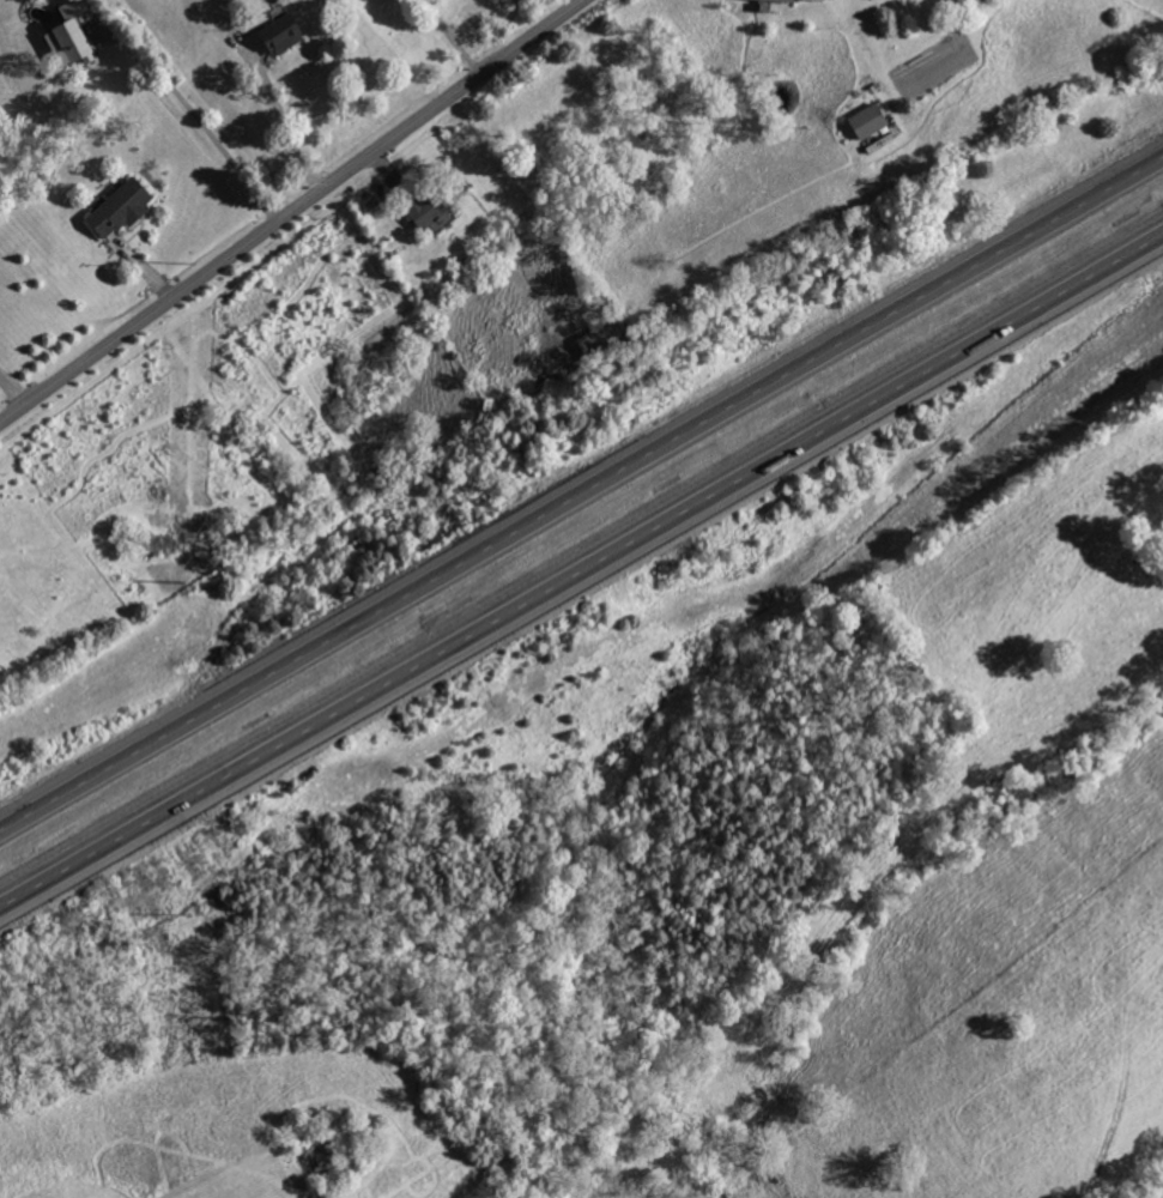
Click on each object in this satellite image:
building: (811, 0)
building: (79, 35)
building: (279, 36)
road: (454, 38)
road: (198, 110)
building: (865, 121)
road: (285, 126)
building: (126, 208)
building: (426, 212)
road: (293, 213)
road: (13, 391)
road: (581, 498)
road: (581, 582)

